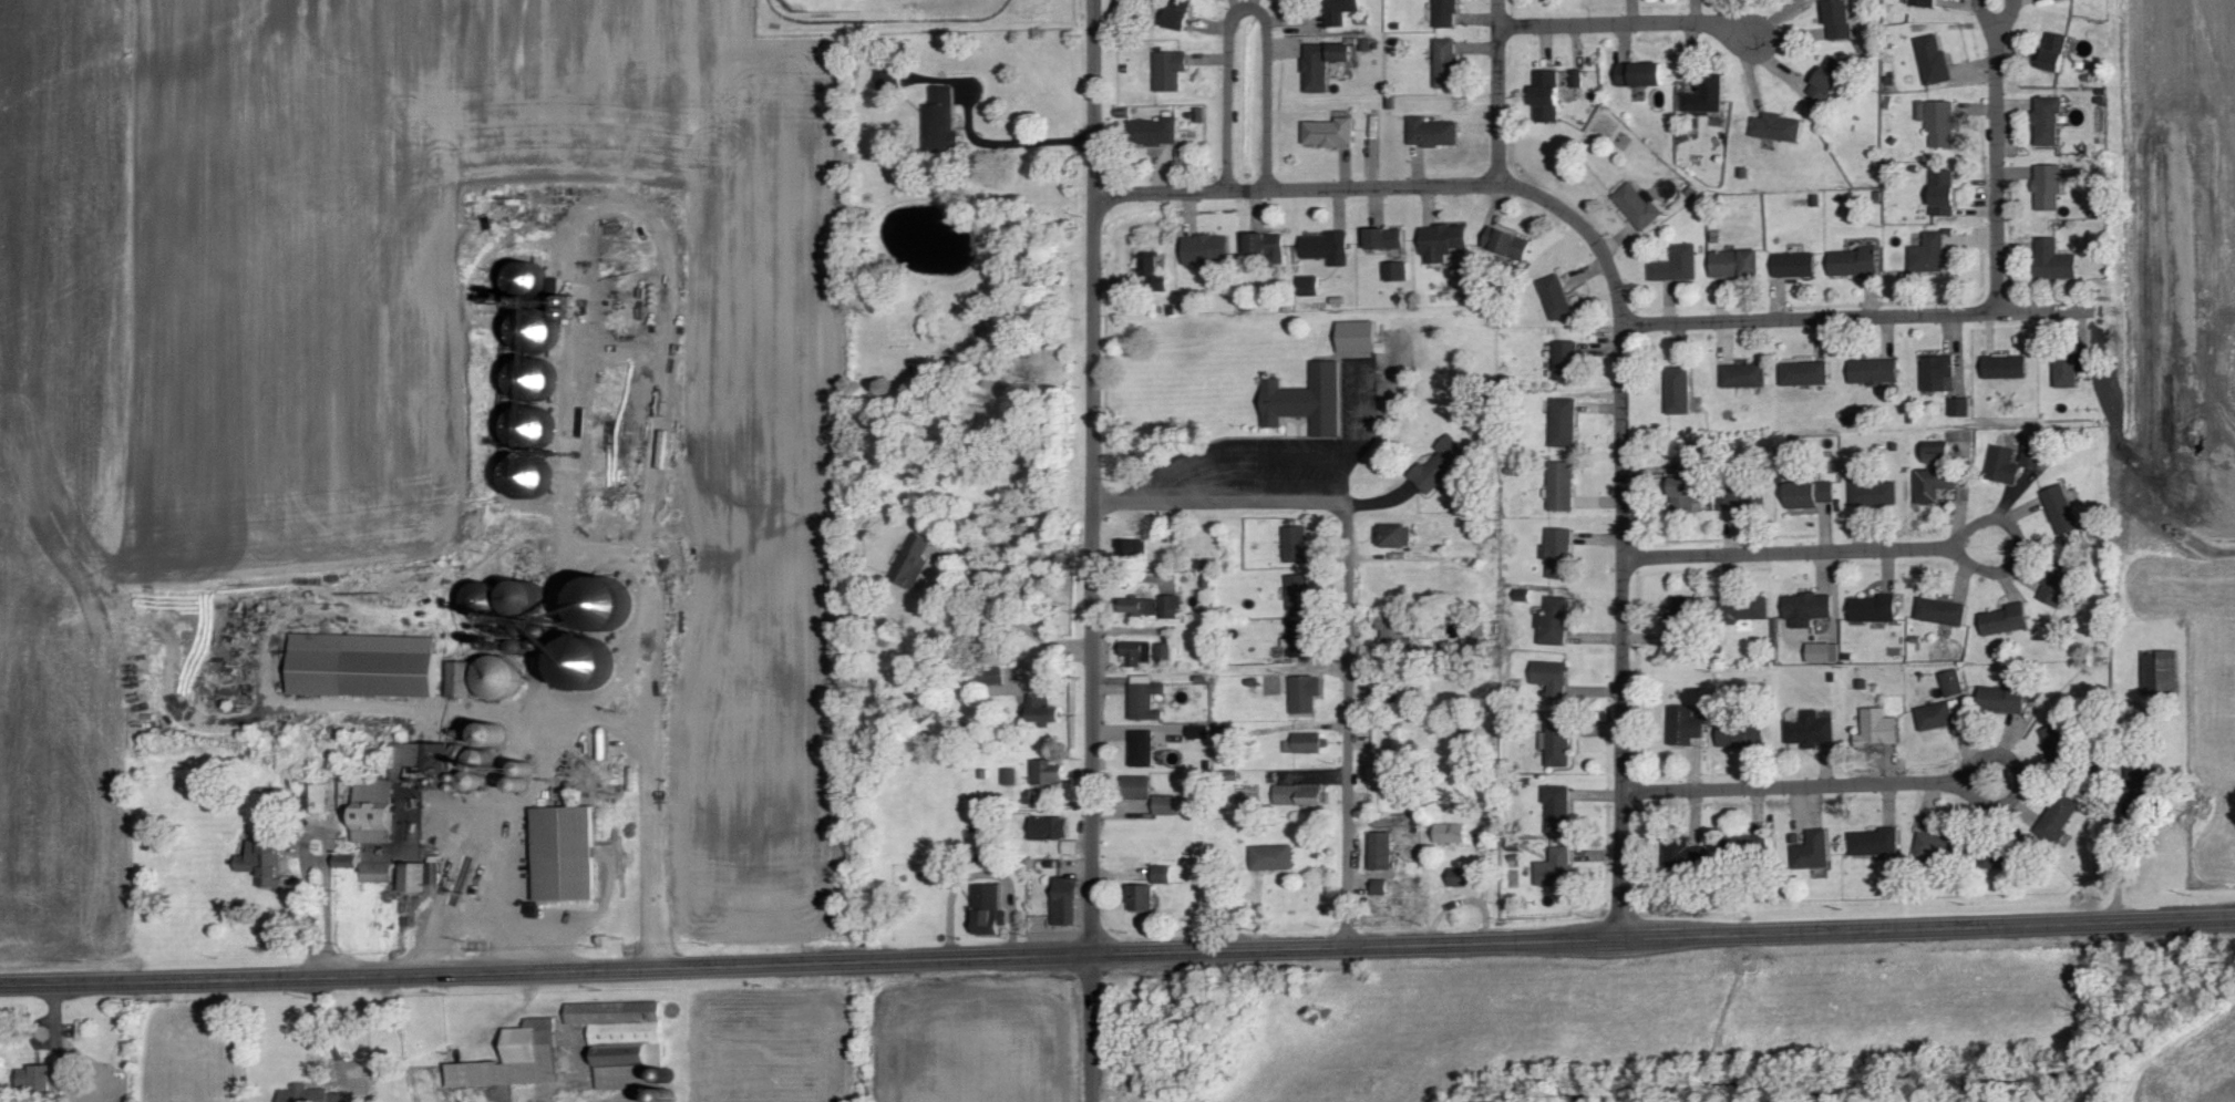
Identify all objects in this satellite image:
road: (1247, 3)
building: (1923, 3)
park: (917, 11)
building: (1339, 11)
building: (1445, 13)
road: (1985, 13)
road: (2007, 13)
building: (1178, 14)
building: (1840, 20)
road: (1678, 22)
building: (2054, 52)
building: (1933, 59)
building: (1321, 63)
building: (1445, 63)
building: (1168, 70)
building: (1640, 74)
building: (1832, 76)
building: (1576, 79)
road: (1500, 91)
building: (1706, 95)
building: (1546, 96)
building: (940, 120)
building: (2048, 120)
building: (1939, 122)
building: (1778, 127)
building: (1154, 132)
building: (1329, 133)
building: (1432, 133)
road: (1024, 140)
road: (1997, 166)
building: (2048, 187)
building: (1944, 193)
road: (622, 205)
building: (1637, 206)
building: (1384, 239)
building: (1443, 243)
building: (1508, 245)
building: (1265, 247)
building: (1328, 248)
building: (1205, 249)
building: (1928, 254)
building: (1854, 261)
building: (2053, 261)
building: (1734, 264)
building: (1677, 265)
building: (1794, 265)
building: (1150, 271)
building: (1397, 271)
building: (1309, 286)
building: (1556, 297)
road: (1861, 315)
road: (1623, 323)
building: (1359, 338)
road: (619, 349)
building: (1566, 361)
building: (2005, 367)
building: (2069, 370)
building: (1936, 371)
building: (1874, 372)
building: (1804, 374)
building: (528, 375)
building: (1744, 375)
building: (1678, 391)
building: (1307, 401)
building: (1959, 406)
building: (1563, 422)
building: (2032, 454)
building: (1935, 455)
road: (1292, 460)
building: (1439, 465)
building: (2002, 465)
road: (1342, 478)
building: (1934, 484)
building: (1561, 486)
building: (1682, 487)
building: (1874, 492)
building: (1810, 494)
building: (1736, 502)
building: (2060, 511)
building: (1393, 536)
building: (1296, 545)
road: (1884, 546)
road: (1092, 550)
building: (1557, 550)
road: (599, 556)
building: (911, 560)
building: (2054, 588)
building: (1298, 593)
road: (1345, 598)
road: (1013, 603)
building: (1139, 606)
building: (1170, 607)
building: (600, 608)
building: (1744, 608)
building: (1806, 609)
building: (1874, 609)
building: (1940, 611)
building: (2004, 620)
building: (1554, 622)
building: (1680, 622)
building: (1391, 629)
building: (1300, 638)
building: (1164, 651)
building: (1136, 652)
building: (1823, 653)
building: (362, 667)
building: (584, 667)
building: (993, 676)
building: (1552, 678)
building: (497, 679)
building: (459, 681)
building: (1953, 683)
building: (1304, 694)
building: (1144, 698)
building: (2004, 699)
road: (484, 706)
building: (1042, 710)
building: (1935, 717)
building: (1685, 727)
building: (1879, 728)
building: (1810, 729)
building: (1197, 732)
building: (1737, 737)
building: (490, 738)
building: (2058, 742)
building: (1309, 743)
building: (1556, 743)
building: (1141, 749)
building: (419, 762)
building: (1382, 770)
building: (474, 772)
building: (1046, 774)
building: (1009, 777)
road: (1885, 780)
road: (656, 786)
building: (1136, 787)
building: (1296, 794)
building: (1029, 797)
building: (313, 800)
building: (1165, 806)
building: (1557, 809)
building: (372, 814)
building: (2059, 818)
building: (1048, 828)
building: (1451, 834)
building: (1875, 842)
building: (1069, 847)
building: (1934, 847)
building: (1380, 852)
building: (1812, 852)
building: (564, 855)
building: (1995, 857)
building: (1271, 858)
building: (262, 861)
building: (346, 862)
building: (1555, 869)
building: (375, 873)
building: (432, 874)
building: (1161, 875)
building: (1462, 877)
building: (411, 878)
building: (1379, 887)
building: (1141, 898)
building: (1064, 902)
road: (325, 908)
building: (986, 910)
road: (451, 927)
road: (1116, 949)
building: (621, 1040)
building: (514, 1059)
building: (42, 1079)
building: (309, 1094)

